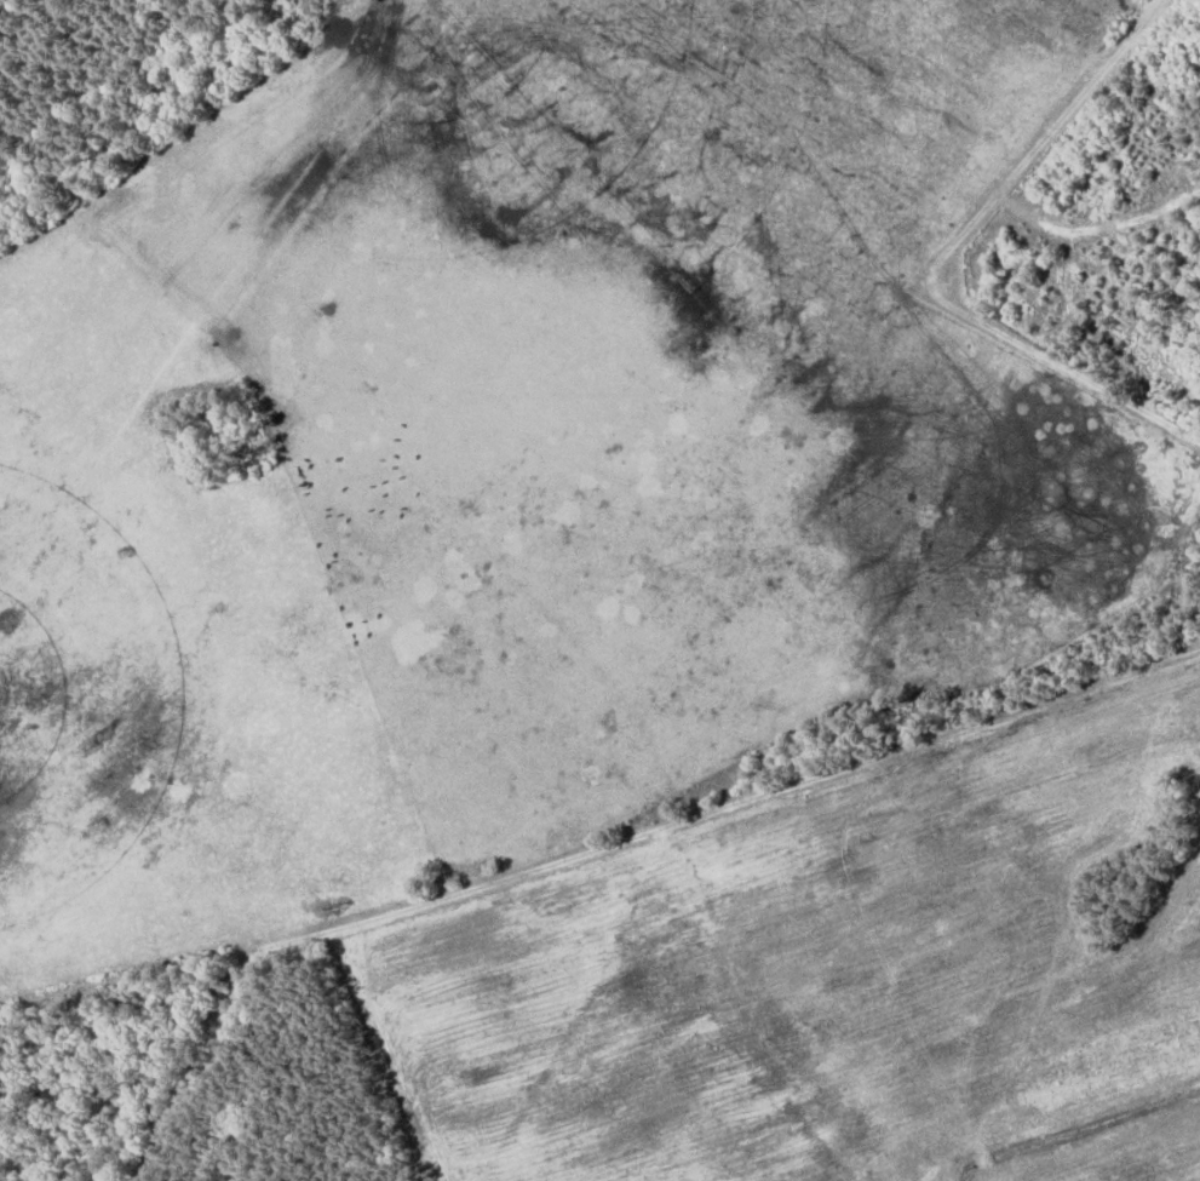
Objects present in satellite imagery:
road: (1052, 124)

